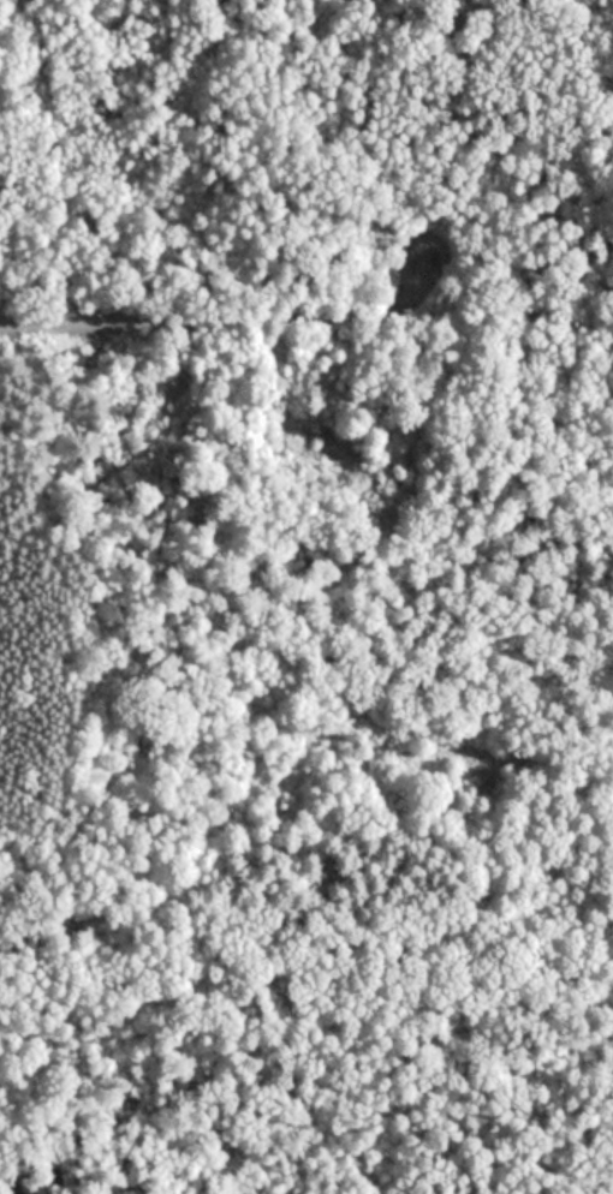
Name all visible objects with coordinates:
road: (219, 316)
park: (306, 597)

